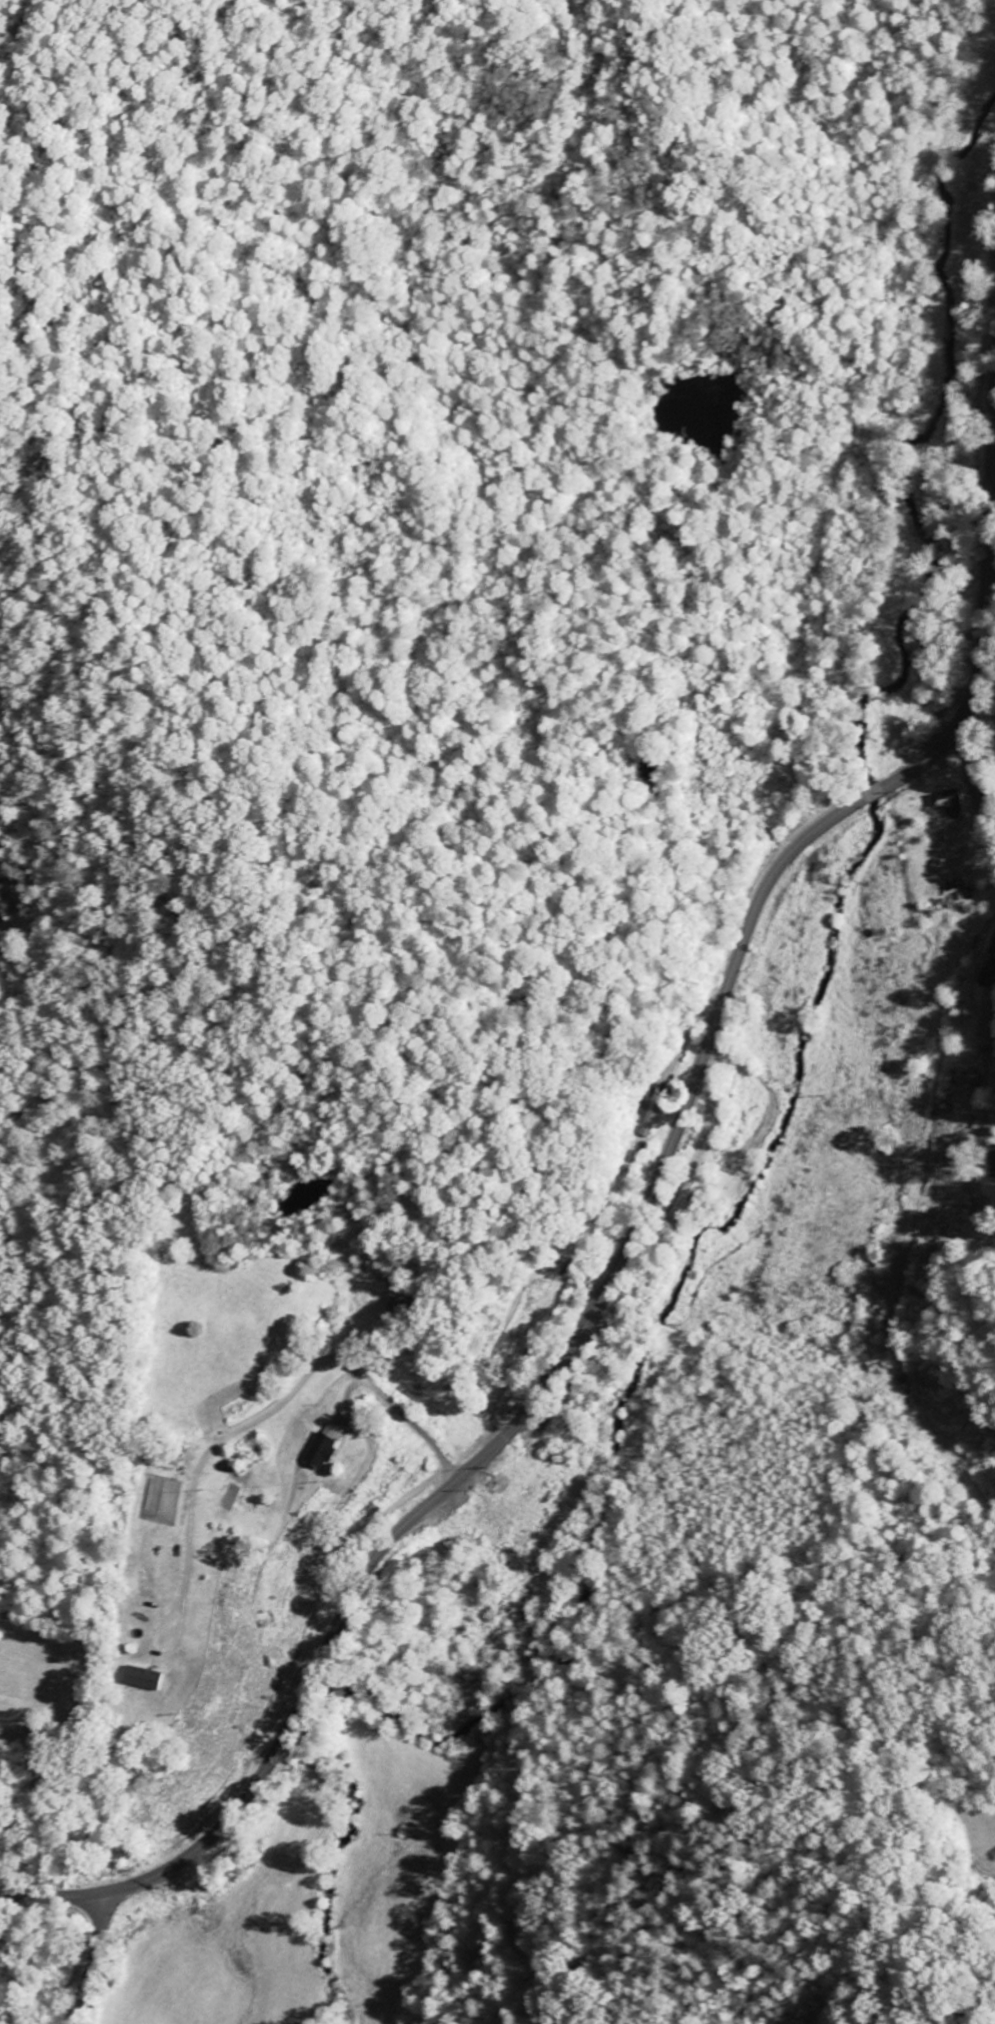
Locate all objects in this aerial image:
road: (979, 786)
building: (954, 802)
building: (976, 1015)
road: (636, 1240)
building: (330, 1449)
building: (151, 1677)
road: (92, 1961)

